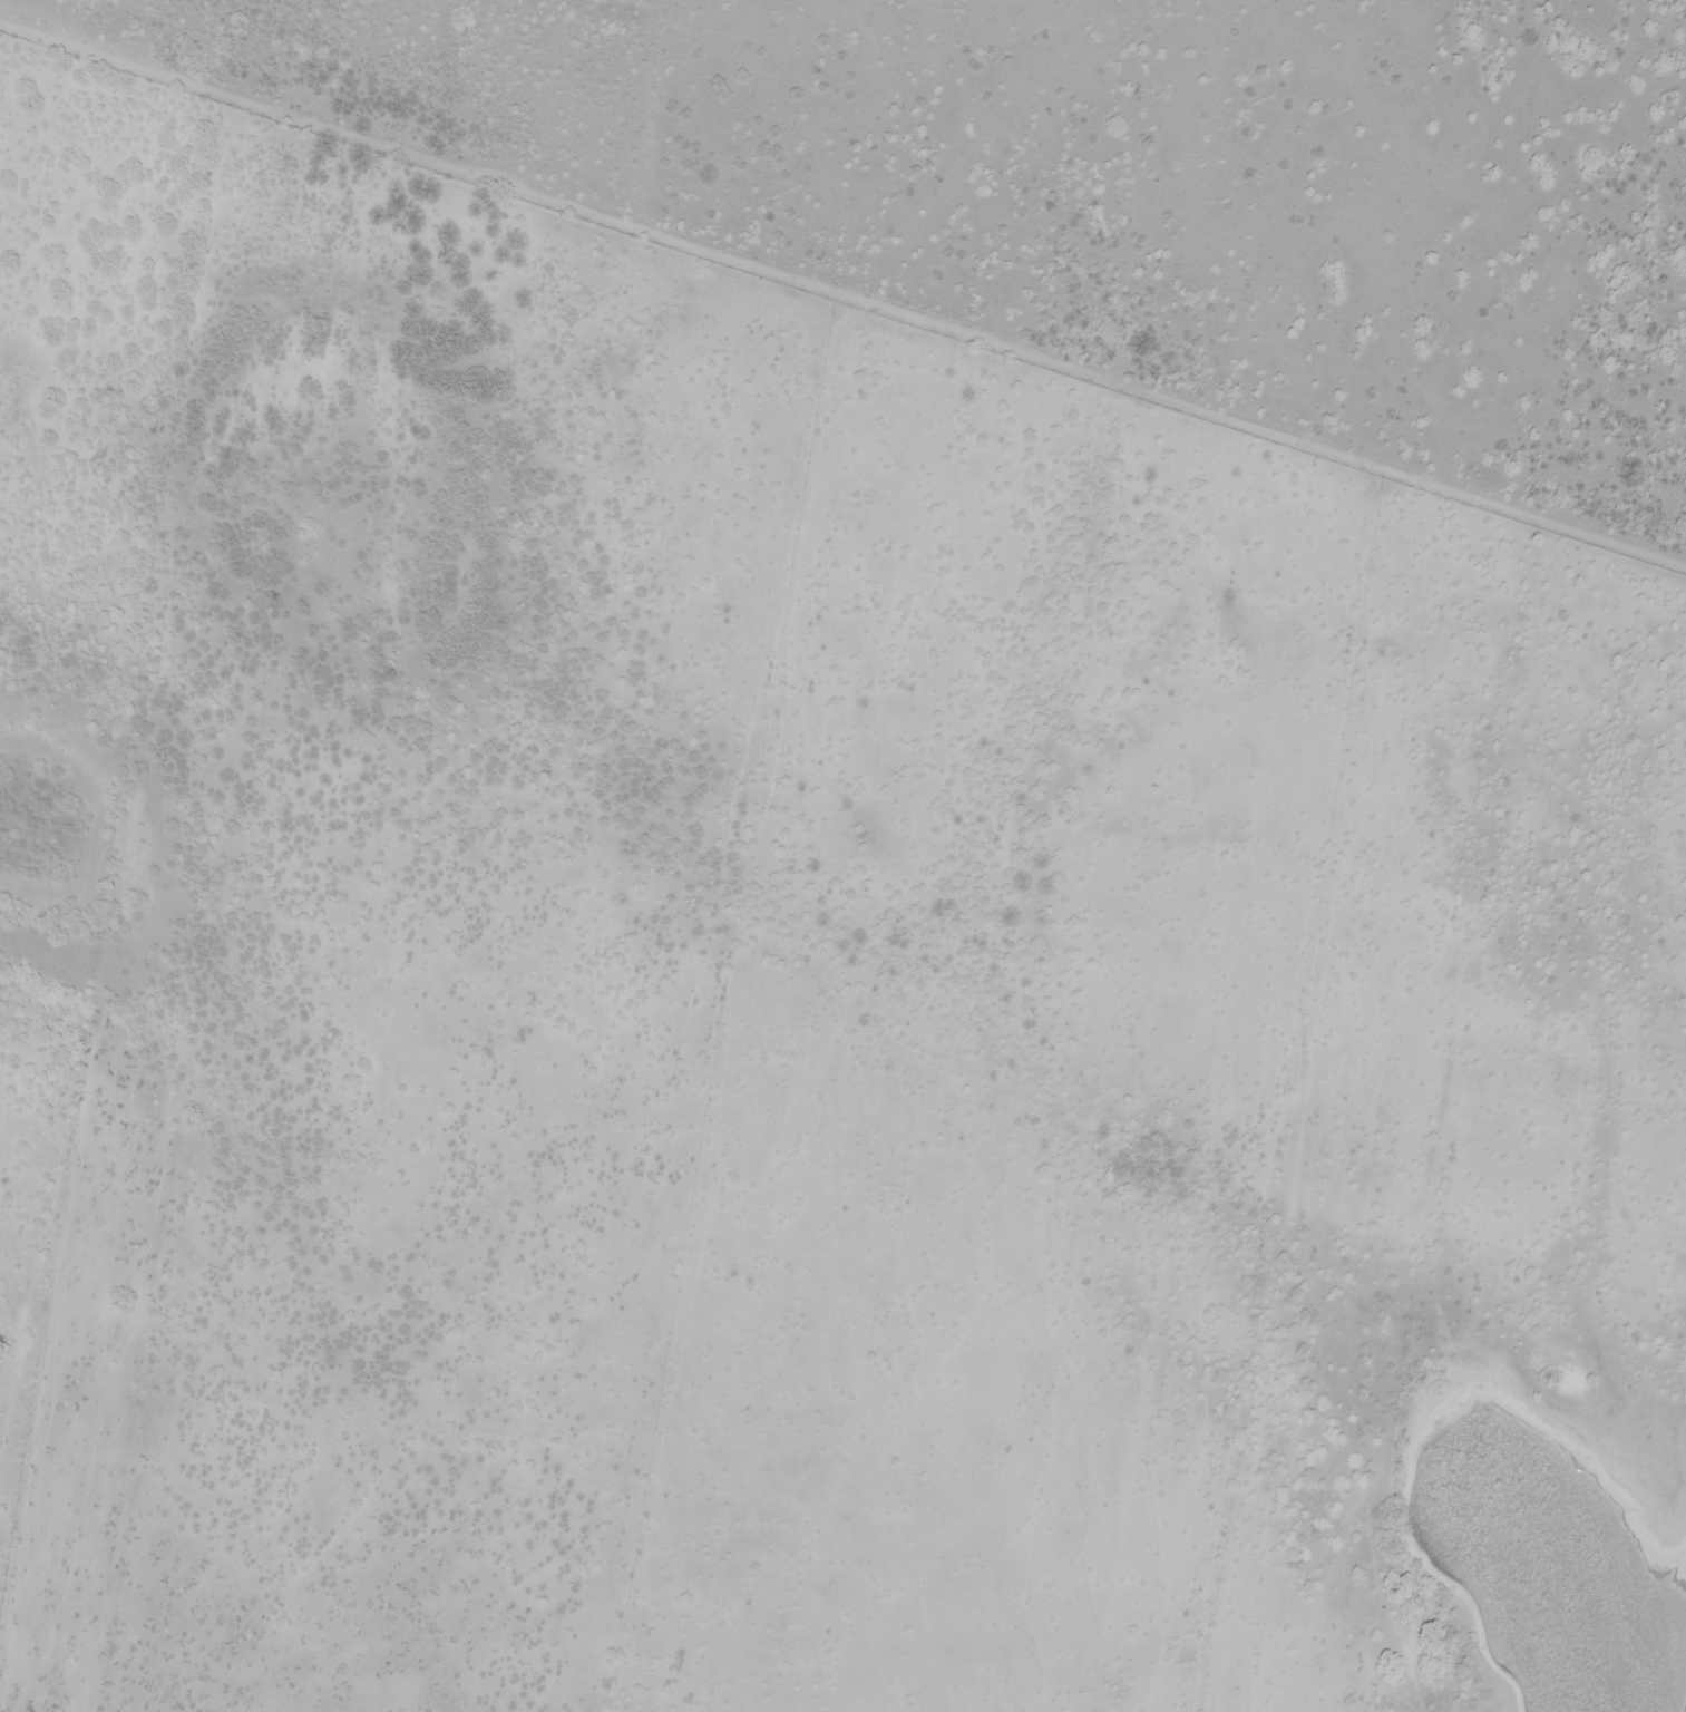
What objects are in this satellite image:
road: (842, 284)

